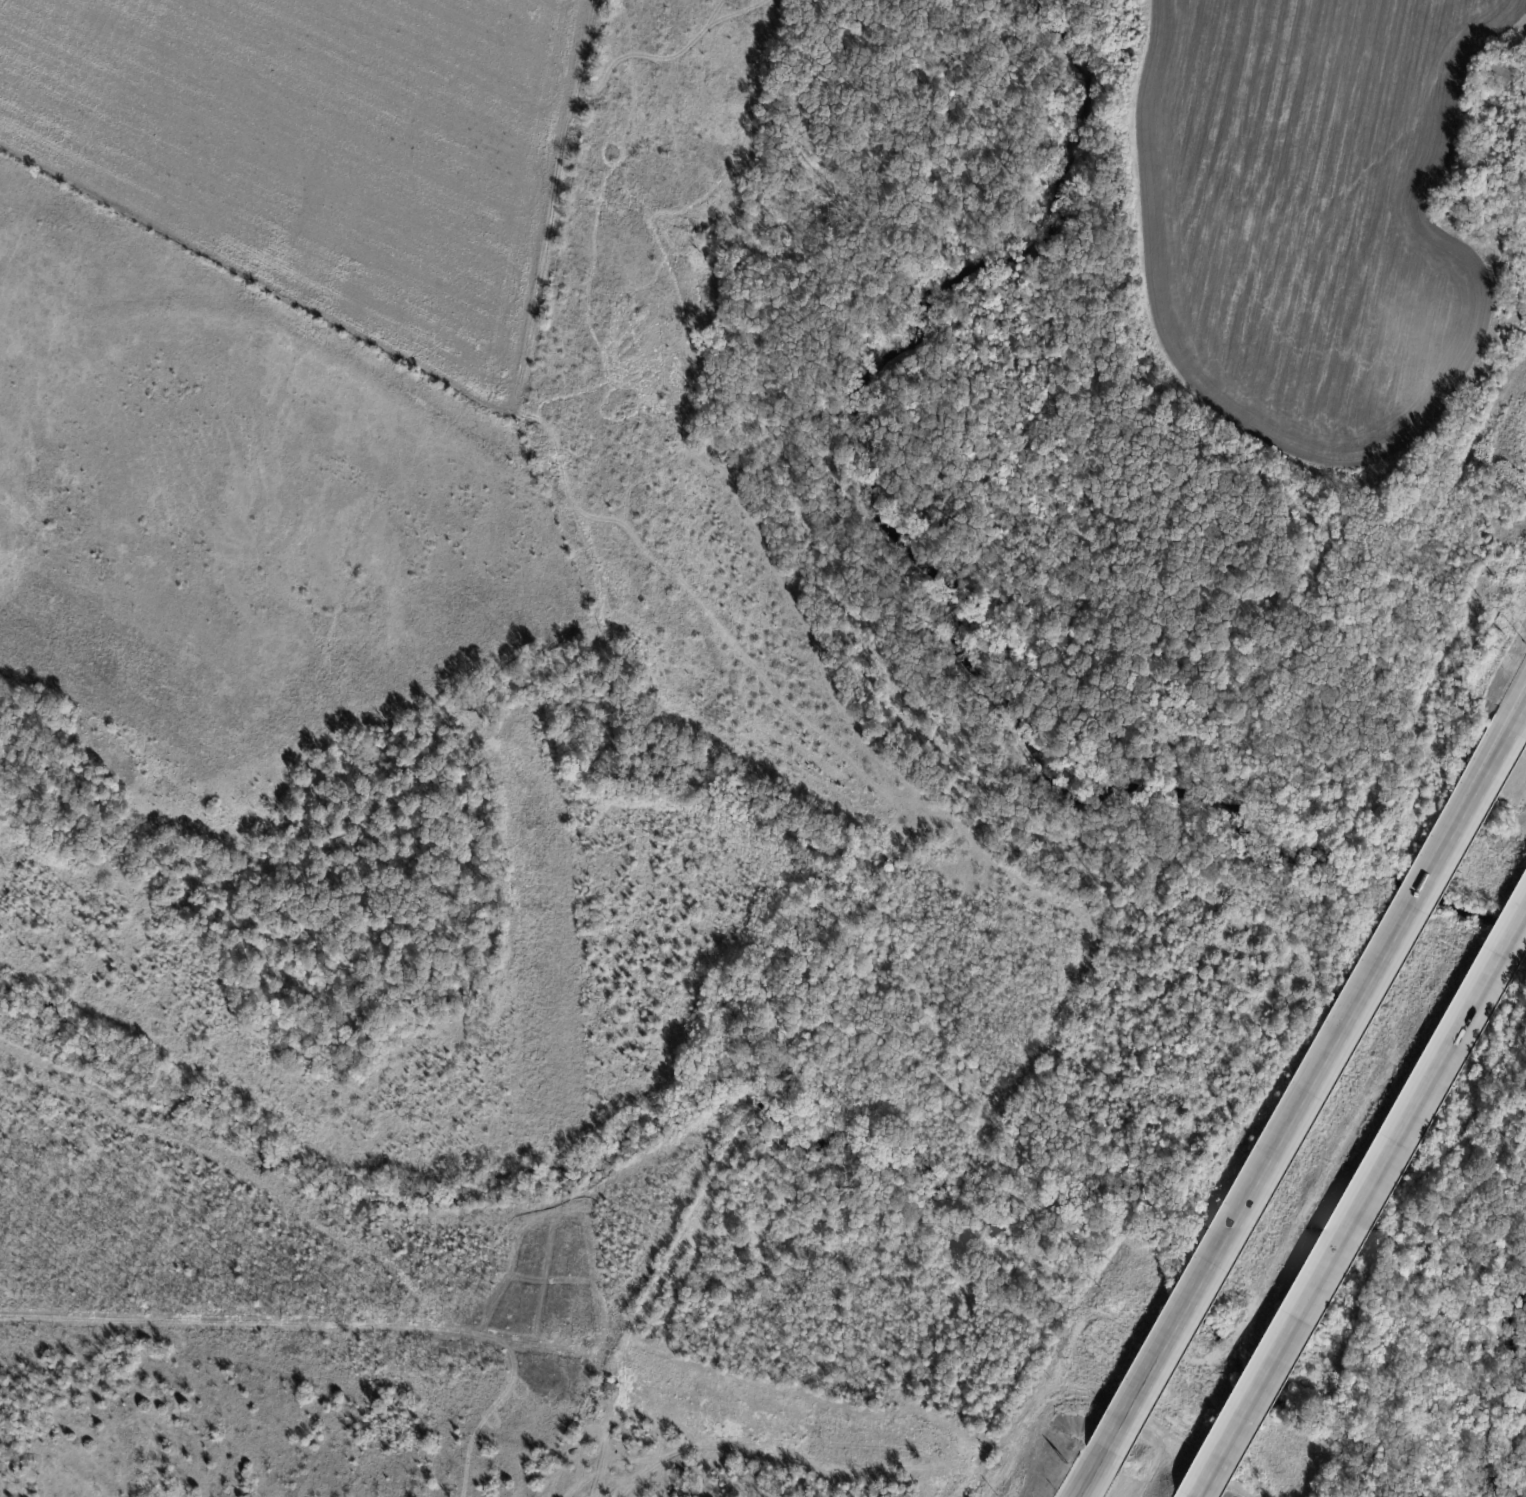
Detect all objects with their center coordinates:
building: (1502, 73)
building: (1465, 203)
road: (1522, 715)
road: (1522, 718)
road: (1309, 1095)
road: (1364, 1207)
road: (1090, 1481)

